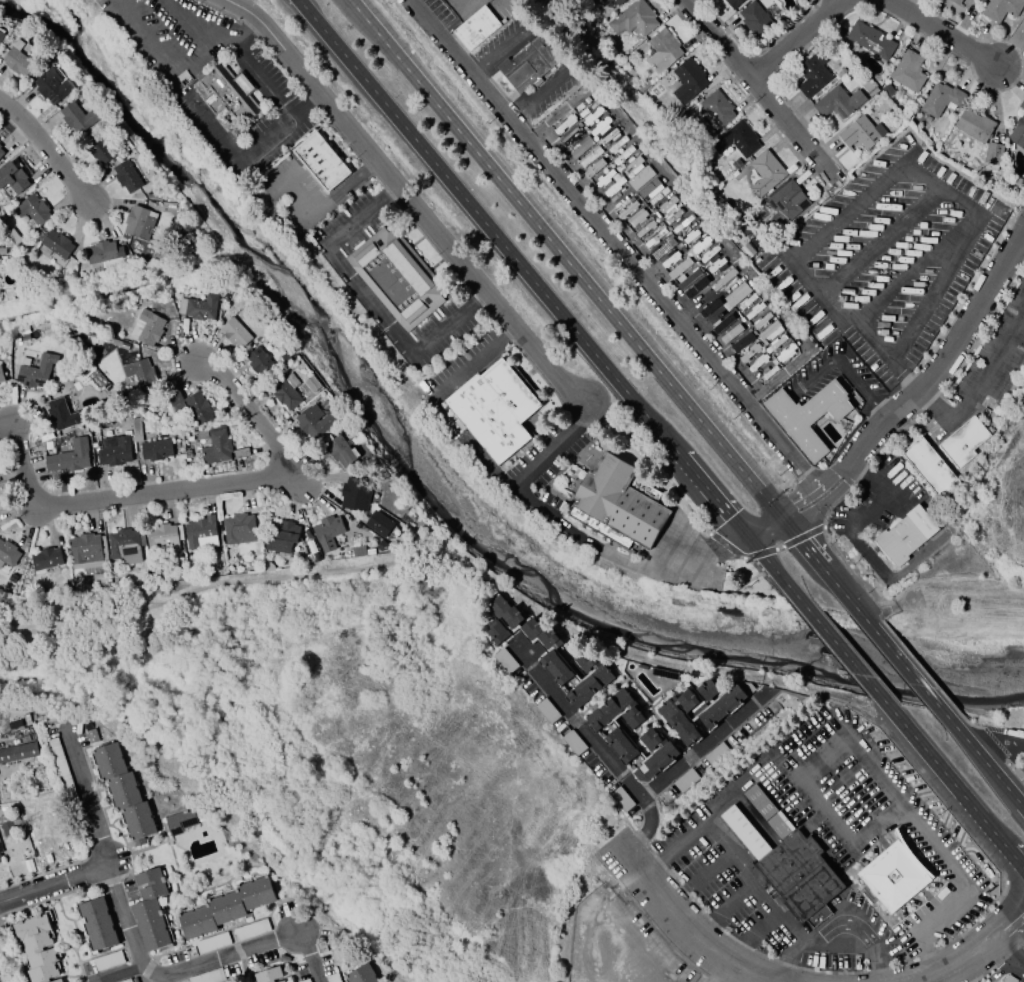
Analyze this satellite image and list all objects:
building: (602, 1)
road: (872, 1)
building: (619, 2)
building: (956, 2)
road: (162, 3)
building: (733, 3)
building: (1001, 9)
road: (458, 16)
building: (633, 19)
building: (754, 20)
road: (188, 27)
building: (476, 28)
building: (2, 37)
road: (235, 39)
building: (870, 40)
road: (503, 48)
building: (663, 50)
road: (159, 51)
building: (18, 60)
road: (472, 62)
building: (528, 64)
building: (908, 71)
building: (812, 75)
road: (266, 78)
building: (687, 81)
building: (642, 85)
building: (52, 86)
road: (546, 91)
building: (226, 92)
building: (873, 92)
road: (761, 93)
building: (941, 98)
building: (838, 102)
building: (1021, 105)
road: (512, 108)
building: (716, 108)
building: (77, 118)
building: (974, 125)
road: (216, 132)
building: (1018, 132)
building: (861, 133)
building: (737, 140)
road: (269, 141)
road: (47, 148)
building: (579, 149)
building: (100, 150)
building: (2, 152)
building: (992, 156)
building: (321, 161)
building: (765, 173)
building: (127, 177)
building: (13, 178)
building: (151, 196)
road: (936, 196)
road: (407, 197)
road: (331, 204)
building: (786, 204)
building: (32, 210)
road: (846, 213)
road: (700, 216)
road: (363, 219)
building: (139, 222)
road: (616, 243)
building: (57, 244)
road: (879, 244)
building: (102, 252)
building: (51, 256)
road: (562, 261)
road: (520, 269)
building: (396, 277)
road: (901, 280)
road: (933, 290)
building: (740, 292)
road: (370, 304)
building: (201, 307)
road: (854, 325)
road: (450, 326)
building: (149, 327)
building: (235, 333)
building: (741, 343)
road: (945, 360)
road: (473, 363)
building: (1023, 363)
building: (261, 364)
building: (35, 372)
building: (140, 373)
building: (2, 379)
road: (814, 379)
road: (853, 381)
building: (312, 384)
road: (975, 386)
building: (286, 390)
road: (781, 405)
building: (191, 406)
road: (877, 407)
building: (495, 409)
road: (760, 410)
building: (61, 414)
building: (809, 415)
building: (318, 420)
building: (134, 430)
building: (963, 442)
road: (472, 445)
building: (47, 446)
building: (216, 447)
road: (554, 447)
building: (155, 450)
building: (341, 451)
building: (113, 454)
building: (69, 457)
building: (930, 468)
road: (830, 474)
road: (185, 488)
road: (840, 488)
river: (443, 489)
building: (355, 494)
road: (796, 500)
building: (617, 503)
road: (804, 517)
traffic signals: (783, 519)
building: (379, 524)
road: (765, 527)
building: (239, 529)
building: (327, 532)
building: (201, 533)
building: (281, 536)
traffic signals: (747, 536)
building: (903, 536)
building: (163, 538)
building: (125, 545)
building: (8, 552)
building: (87, 553)
road: (814, 557)
road: (626, 558)
building: (46, 559)
road: (766, 559)
building: (268, 567)
building: (77, 584)
building: (502, 619)
building: (541, 634)
road: (833, 640)
road: (892, 652)
building: (505, 661)
building: (556, 668)
building: (663, 674)
building: (590, 678)
building: (707, 689)
building: (725, 704)
building: (547, 711)
building: (616, 711)
building: (680, 716)
building: (13, 724)
building: (574, 743)
building: (621, 745)
road: (705, 745)
road: (998, 747)
building: (19, 751)
road: (605, 752)
building: (655, 754)
building: (715, 754)
road: (975, 754)
road: (933, 763)
building: (62, 772)
building: (686, 780)
road: (743, 786)
road: (837, 789)
building: (124, 792)
building: (621, 799)
road: (900, 805)
road: (1018, 805)
building: (768, 812)
road: (803, 817)
building: (180, 821)
road: (873, 836)
building: (5, 837)
road: (1004, 851)
road: (649, 864)
building: (28, 866)
road: (711, 868)
building: (891, 870)
building: (799, 875)
road: (53, 881)
road: (756, 881)
road: (740, 899)
building: (227, 907)
building: (150, 911)
road: (593, 919)
road: (1013, 920)
building: (97, 925)
road: (686, 926)
road: (764, 928)
building: (250, 930)
road: (927, 931)
road: (840, 937)
road: (1012, 940)
building: (212, 943)
building: (37, 948)
road: (633, 949)
road: (139, 952)
road: (1020, 958)
road: (966, 959)
building: (108, 961)
road: (784, 965)
road: (1020, 966)
road: (717, 970)
road: (117, 973)
building: (361, 974)
road: (877, 974)
building: (268, 975)
building: (208, 976)
building: (332, 978)
building: (1009, 979)
building: (125, 980)
road: (163, 980)
building: (305, 980)
building: (282, 981)

